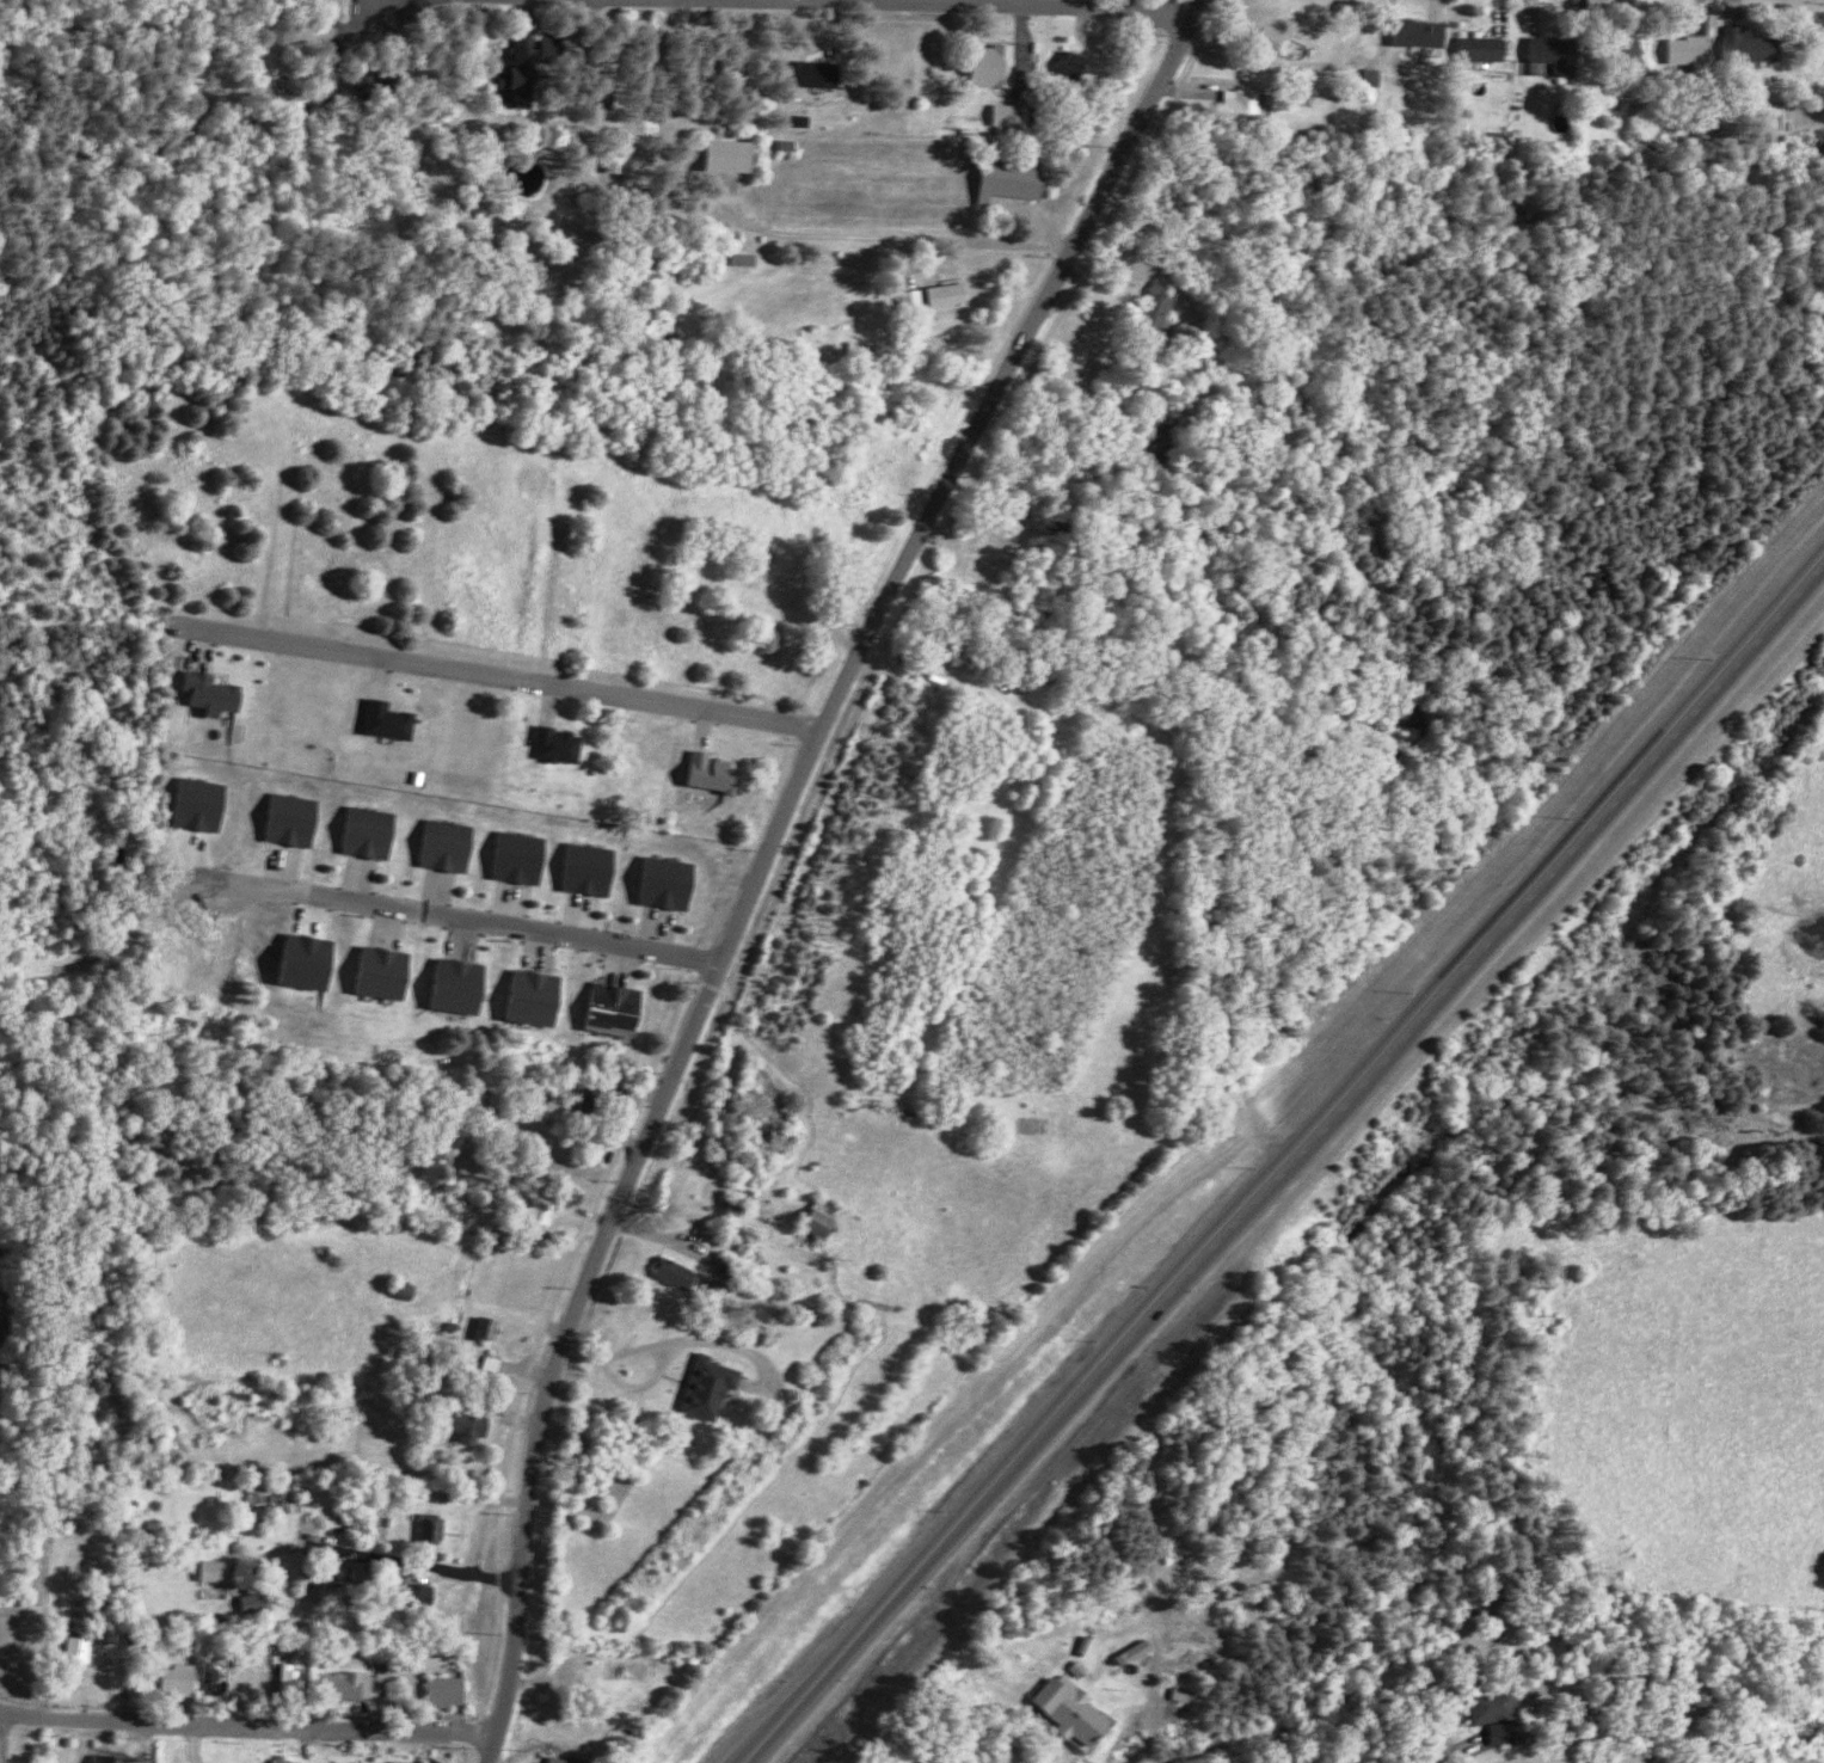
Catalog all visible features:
road: (868, 2)
building: (1426, 32)
building: (1276, 38)
building: (1696, 44)
building: (1754, 44)
building: (1632, 47)
building: (1488, 48)
building: (1560, 53)
building: (524, 61)
building: (1075, 62)
building: (995, 64)
building: (815, 73)
building: (1380, 76)
building: (1248, 102)
building: (297, 105)
building: (1009, 115)
building: (805, 119)
building: (732, 154)
building: (622, 160)
building: (1015, 177)
road: (1015, 241)
building: (751, 259)
building: (952, 295)
building: (1163, 305)
road: (505, 677)
building: (215, 693)
building: (392, 720)
building: (561, 745)
building: (714, 773)
building: (202, 804)
building: (295, 819)
building: (371, 833)
building: (449, 846)
road: (770, 856)
building: (522, 858)
building: (591, 870)
building: (669, 883)
road: (268, 887)
road: (526, 929)
building: (308, 962)
road: (1450, 967)
building: (385, 972)
building: (459, 987)
building: (534, 997)
building: (615, 1009)
building: (545, 1211)
building: (825, 1217)
building: (682, 1272)
building: (8, 1311)
building: (491, 1327)
road: (711, 1343)
building: (713, 1388)
building: (469, 1424)
building: (435, 1529)
road: (385, 1554)
building: (221, 1569)
road: (927, 1580)
building: (422, 1595)
building: (257, 1601)
building: (1093, 1645)
building: (82, 1650)
building: (1140, 1652)
building: (1085, 1666)
building: (184, 1678)
building: (223, 1678)
building: (260, 1678)
building: (299, 1678)
building: (354, 1685)
building: (450, 1690)
building: (1494, 1704)
building: (1076, 1708)
road: (245, 1728)
building: (1507, 1732)
building: (106, 1758)
building: (289, 1759)
building: (567, 1759)
building: (406, 1762)
building: (1727, 1762)

